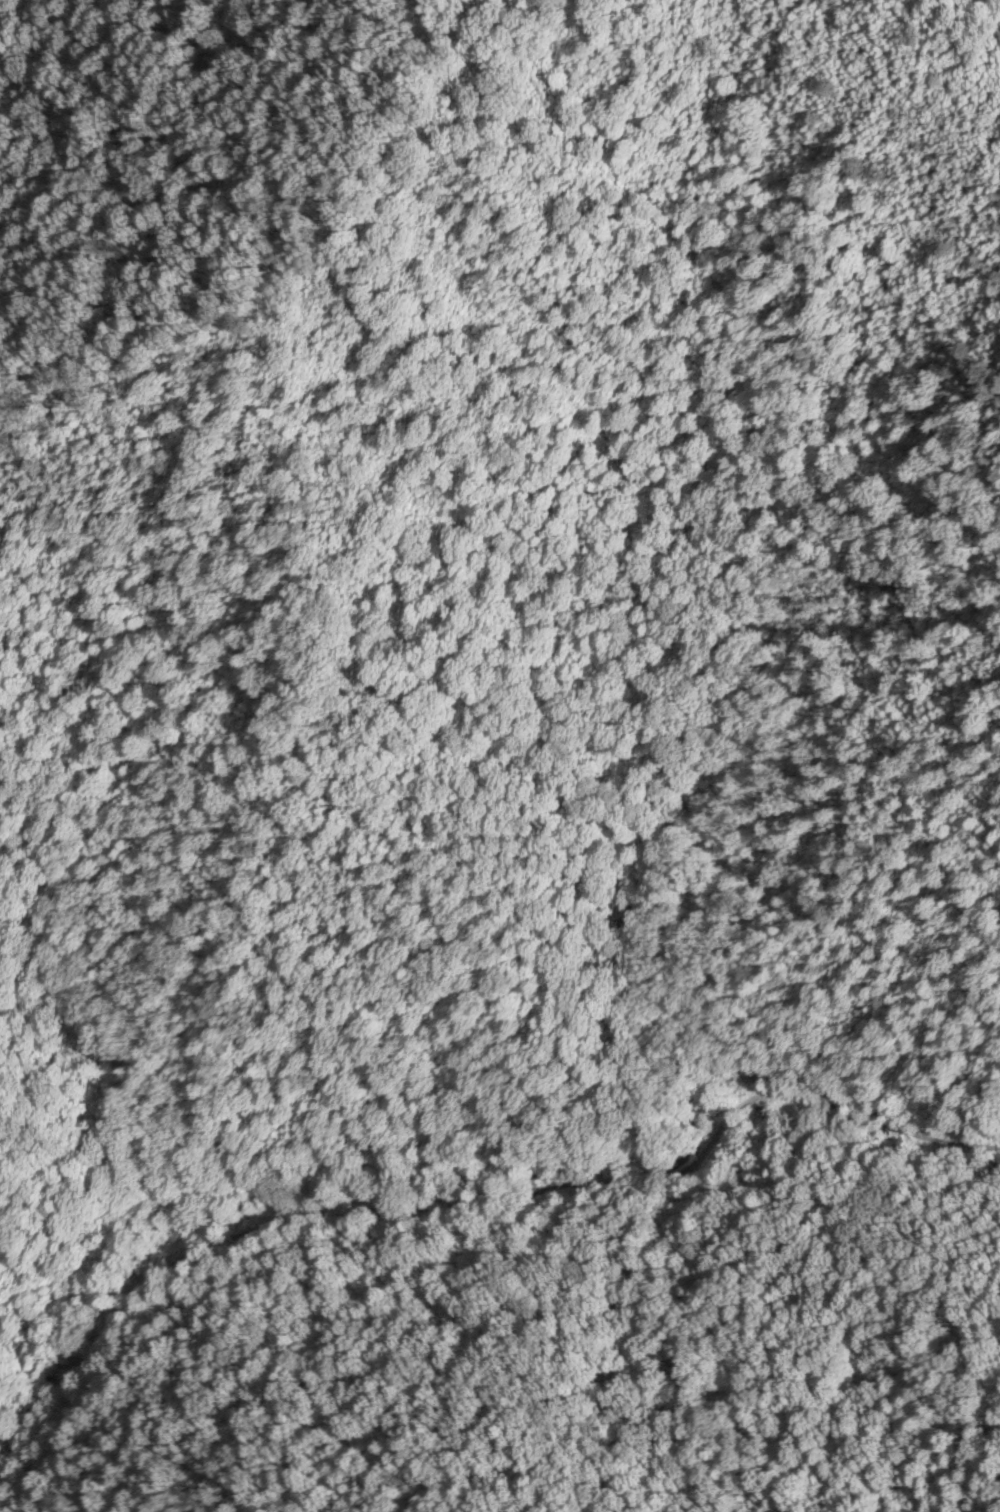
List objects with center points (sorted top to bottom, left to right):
road: (464, 1233)

